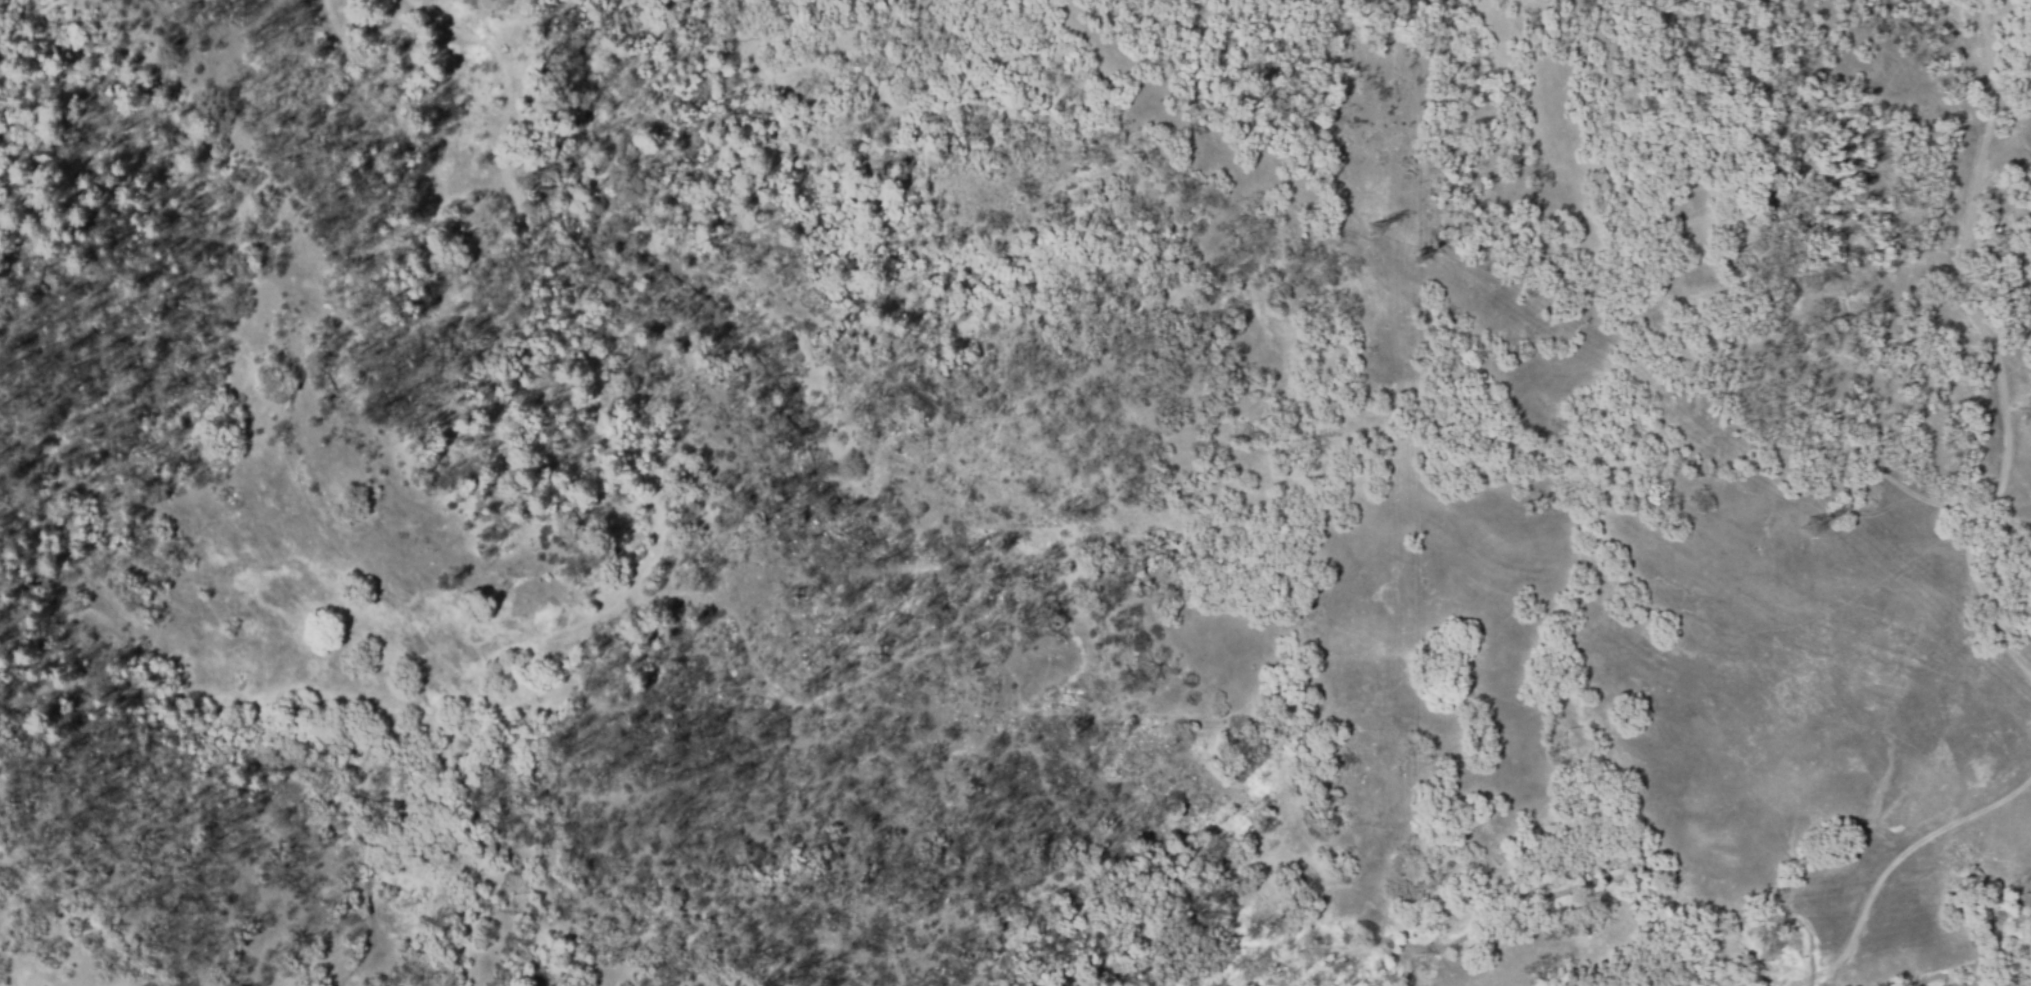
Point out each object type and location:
power tower: (1382, 231)
power tower: (1427, 257)
power tower: (1812, 530)

